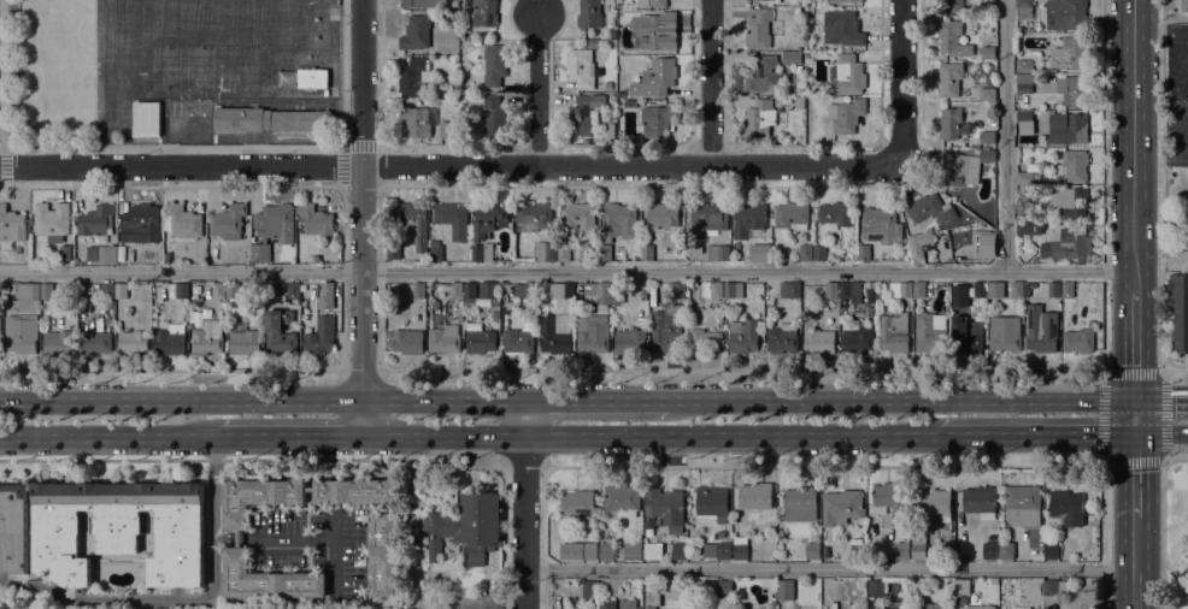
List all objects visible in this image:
building: (774, 1)
building: (845, 1)
building: (423, 4)
building: (654, 4)
building: (1024, 4)
building: (951, 5)
building: (1184, 5)
building: (810, 10)
building: (484, 12)
building: (589, 13)
building: (1065, 14)
building: (758, 29)
building: (842, 29)
building: (655, 30)
road: (1159, 31)
building: (416, 32)
building: (612, 34)
building: (952, 39)
building: (592, 45)
building: (987, 53)
building: (1071, 53)
building: (793, 58)
building: (495, 64)
building: (1024, 66)
building: (581, 67)
building: (660, 75)
building: (764, 75)
building: (848, 75)
road: (900, 77)
building: (312, 78)
building: (412, 78)
building: (949, 79)
road: (710, 82)
building: (1024, 83)
building: (607, 85)
road: (536, 89)
building: (801, 91)
building: (1077, 91)
building: (987, 94)
building: (631, 102)
building: (799, 102)
building: (1018, 106)
building: (1054, 106)
building: (582, 114)
building: (846, 116)
building: (494, 117)
building: (763, 117)
building: (145, 119)
building: (241, 119)
building: (417, 119)
building: (658, 119)
building: (300, 120)
building: (1024, 123)
building: (952, 124)
road: (1159, 124)
building: (1074, 128)
building: (447, 129)
building: (608, 131)
road: (1005, 135)
building: (987, 137)
building: (1028, 140)
road: (1131, 144)
road: (341, 146)
road: (171, 147)
road: (4, 160)
road: (1159, 161)
road: (448, 165)
building: (1074, 166)
building: (963, 167)
building: (1024, 178)
road: (360, 200)
building: (1071, 201)
building: (1030, 202)
building: (930, 209)
road: (1161, 213)
building: (534, 214)
building: (661, 214)
building: (835, 215)
building: (792, 217)
building: (452, 218)
building: (580, 218)
building: (316, 219)
building: (488, 219)
building: (706, 219)
building: (748, 219)
building: (1059, 219)
building: (95, 220)
building: (182, 220)
building: (618, 220)
building: (51, 221)
building: (11, 224)
building: (140, 224)
building: (227, 224)
building: (882, 225)
building: (406, 227)
building: (271, 229)
building: (1024, 229)
building: (1186, 233)
building: (336, 237)
building: (919, 244)
building: (983, 244)
building: (1068, 244)
building: (546, 250)
building: (482, 252)
building: (818, 252)
building: (864, 252)
building: (100, 253)
building: (436, 253)
building: (564, 253)
building: (605, 253)
building: (646, 253)
building: (718, 253)
building: (760, 253)
building: (805, 253)
building: (1028, 253)
building: (64, 255)
building: (166, 258)
building: (314, 258)
road: (565, 270)
building: (6, 286)
building: (302, 288)
building: (676, 288)
building: (525, 289)
building: (563, 289)
building: (733, 289)
building: (789, 289)
building: (831, 289)
building: (899, 289)
building: (980, 289)
building: (1017, 289)
building: (1054, 289)
building: (1066, 289)
building: (27, 290)
building: (46, 290)
building: (107, 290)
building: (120, 290)
building: (177, 290)
building: (219, 290)
building: (231, 290)
building: (293, 290)
building: (328, 290)
building: (418, 290)
building: (455, 290)
building: (487, 290)
building: (599, 290)
building: (711, 290)
building: (849, 290)
building: (919, 290)
building: (995, 290)
building: (1027, 290)
building: (617, 291)
building: (469, 294)
building: (651, 294)
building: (959, 296)
building: (618, 302)
building: (1178, 309)
building: (978, 315)
building: (1092, 324)
building: (666, 329)
building: (1041, 329)
building: (593, 331)
building: (893, 332)
building: (20, 333)
building: (280, 333)
building: (929, 333)
building: (1005, 333)
building: (388, 335)
building: (553, 336)
building: (742, 336)
building: (965, 337)
building: (207, 338)
building: (782, 338)
building: (855, 338)
building: (59, 339)
building: (170, 339)
building: (408, 339)
building: (443, 339)
building: (317, 341)
building: (481, 341)
building: (518, 341)
building: (702, 341)
building: (819, 341)
building: (1078, 341)
building: (94, 342)
building: (133, 342)
building: (243, 342)
road: (1131, 343)
building: (388, 344)
building: (629, 344)
road: (172, 369)
road: (925, 369)
road: (360, 371)
road: (899, 398)
road: (1160, 398)
road: (181, 400)
road: (442, 400)
road: (595, 400)
road: (1133, 415)
road: (361, 416)
road: (523, 416)
road: (1033, 433)
road: (1160, 433)
road: (287, 434)
road: (442, 434)
road: (729, 434)
road: (1161, 434)
road: (106, 436)
road: (1175, 457)
road: (252, 460)
road: (521, 460)
road: (894, 463)
road: (1133, 475)
building: (755, 496)
building: (257, 497)
building: (622, 498)
building: (892, 501)
building: (980, 501)
building: (712, 503)
building: (800, 503)
building: (934, 503)
building: (578, 504)
building: (845, 505)
building: (1022, 505)
building: (1066, 507)
building: (665, 508)
road: (523, 521)
building: (13, 527)
building: (466, 527)
building: (120, 530)
road: (1161, 533)
building: (382, 534)
park: (1176, 536)
road: (223, 538)
road: (300, 538)
building: (740, 548)
building: (918, 548)
building: (857, 549)
building: (678, 550)
building: (812, 550)
building: (901, 550)
building: (1006, 550)
building: (1049, 550)
building: (578, 551)
building: (606, 551)
building: (633, 551)
building: (723, 551)
building: (989, 551)
building: (1037, 555)
building: (649, 557)
road: (333, 562)
road: (1134, 563)
road: (828, 568)
building: (266, 579)
building: (589, 587)
building: (723, 589)
building: (876, 589)
building: (784, 590)
building: (1053, 591)
road: (186, 599)
building: (652, 599)
building: (607, 604)
building: (628, 604)
building: (834, 605)
building: (888, 605)
building: (933, 605)
building: (978, 607)
building: (411, 608)
building: (1022, 608)

